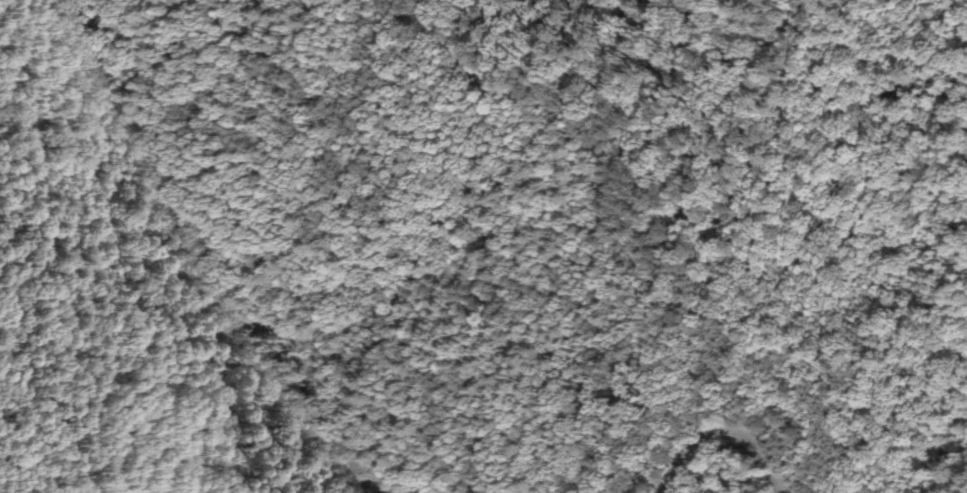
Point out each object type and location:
road: (32, 476)

